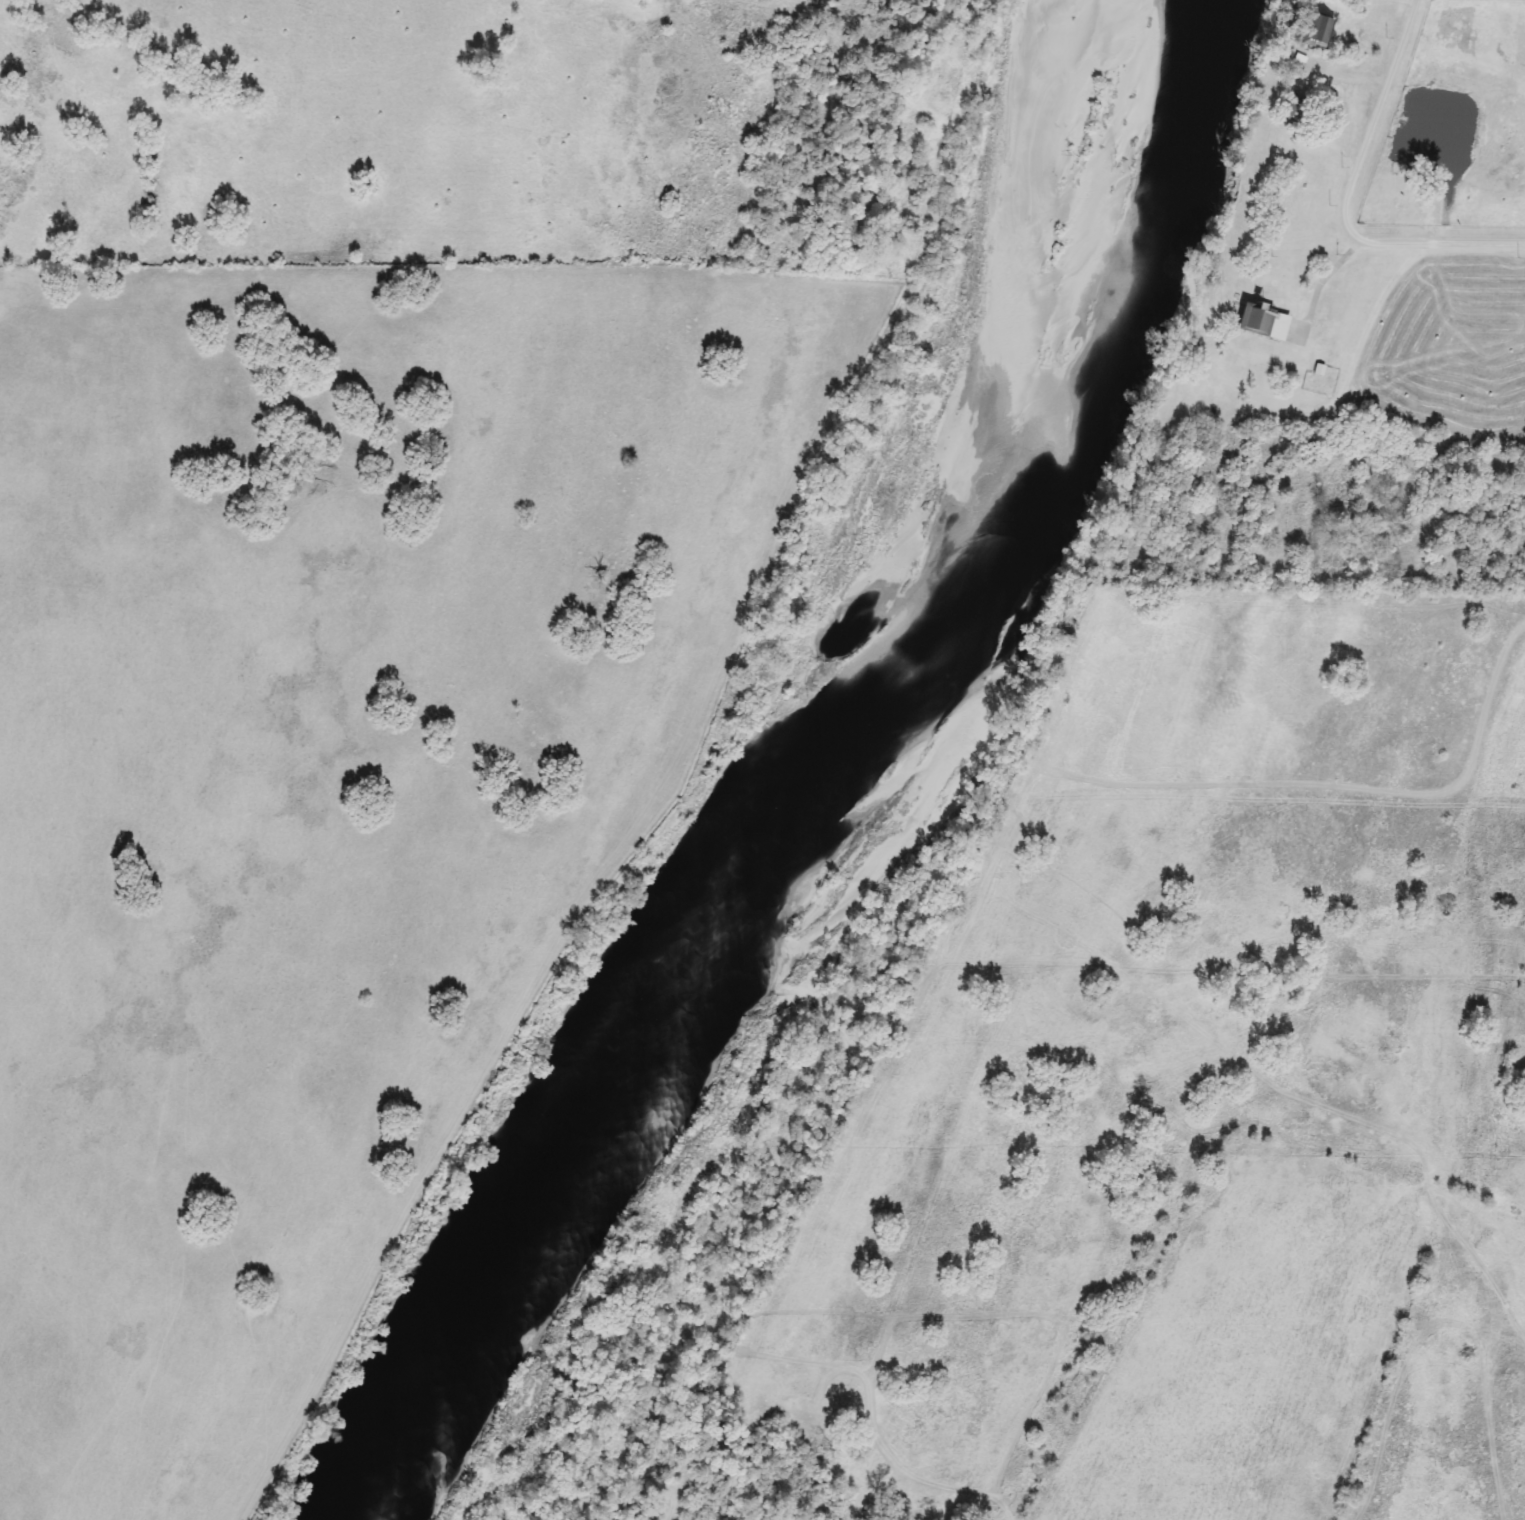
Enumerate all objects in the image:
building: (1314, 32)
road: (1348, 202)
road: (1326, 286)
building: (1255, 322)
river: (809, 770)

